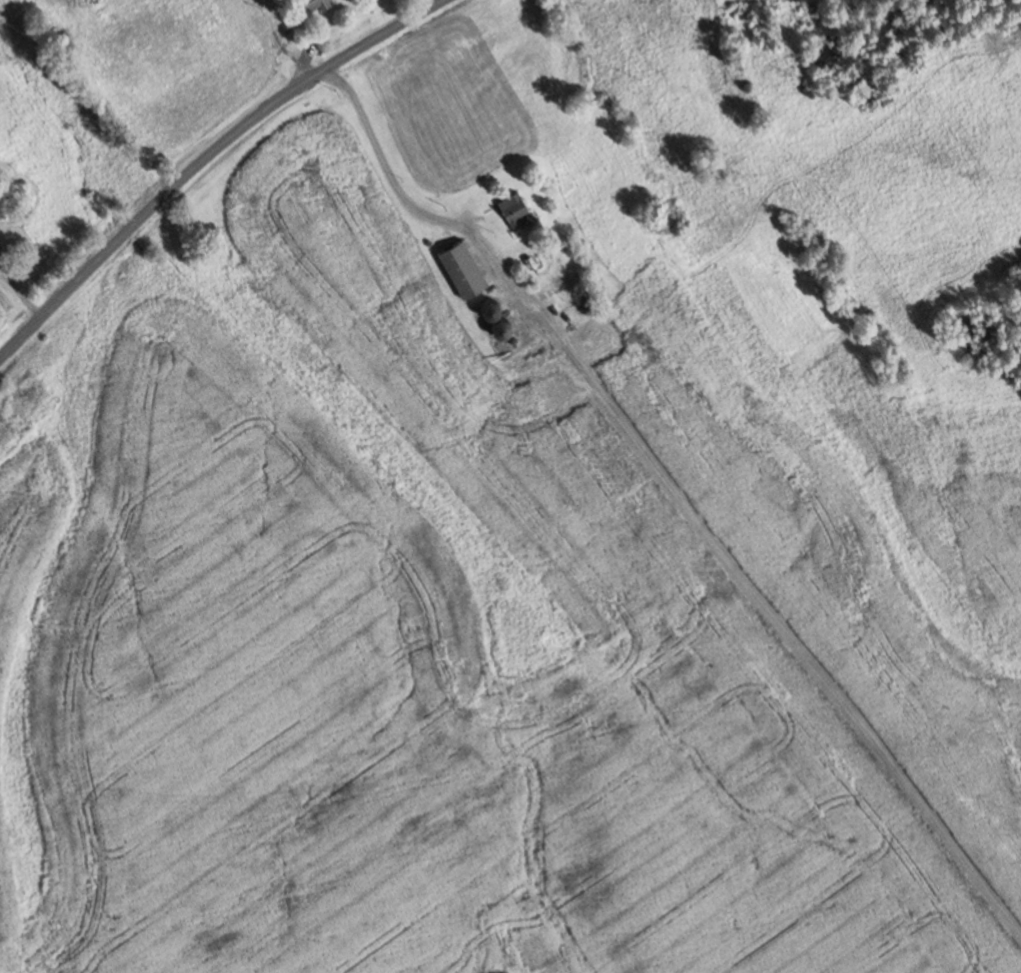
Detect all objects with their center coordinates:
road: (710, 84)
road: (205, 159)

